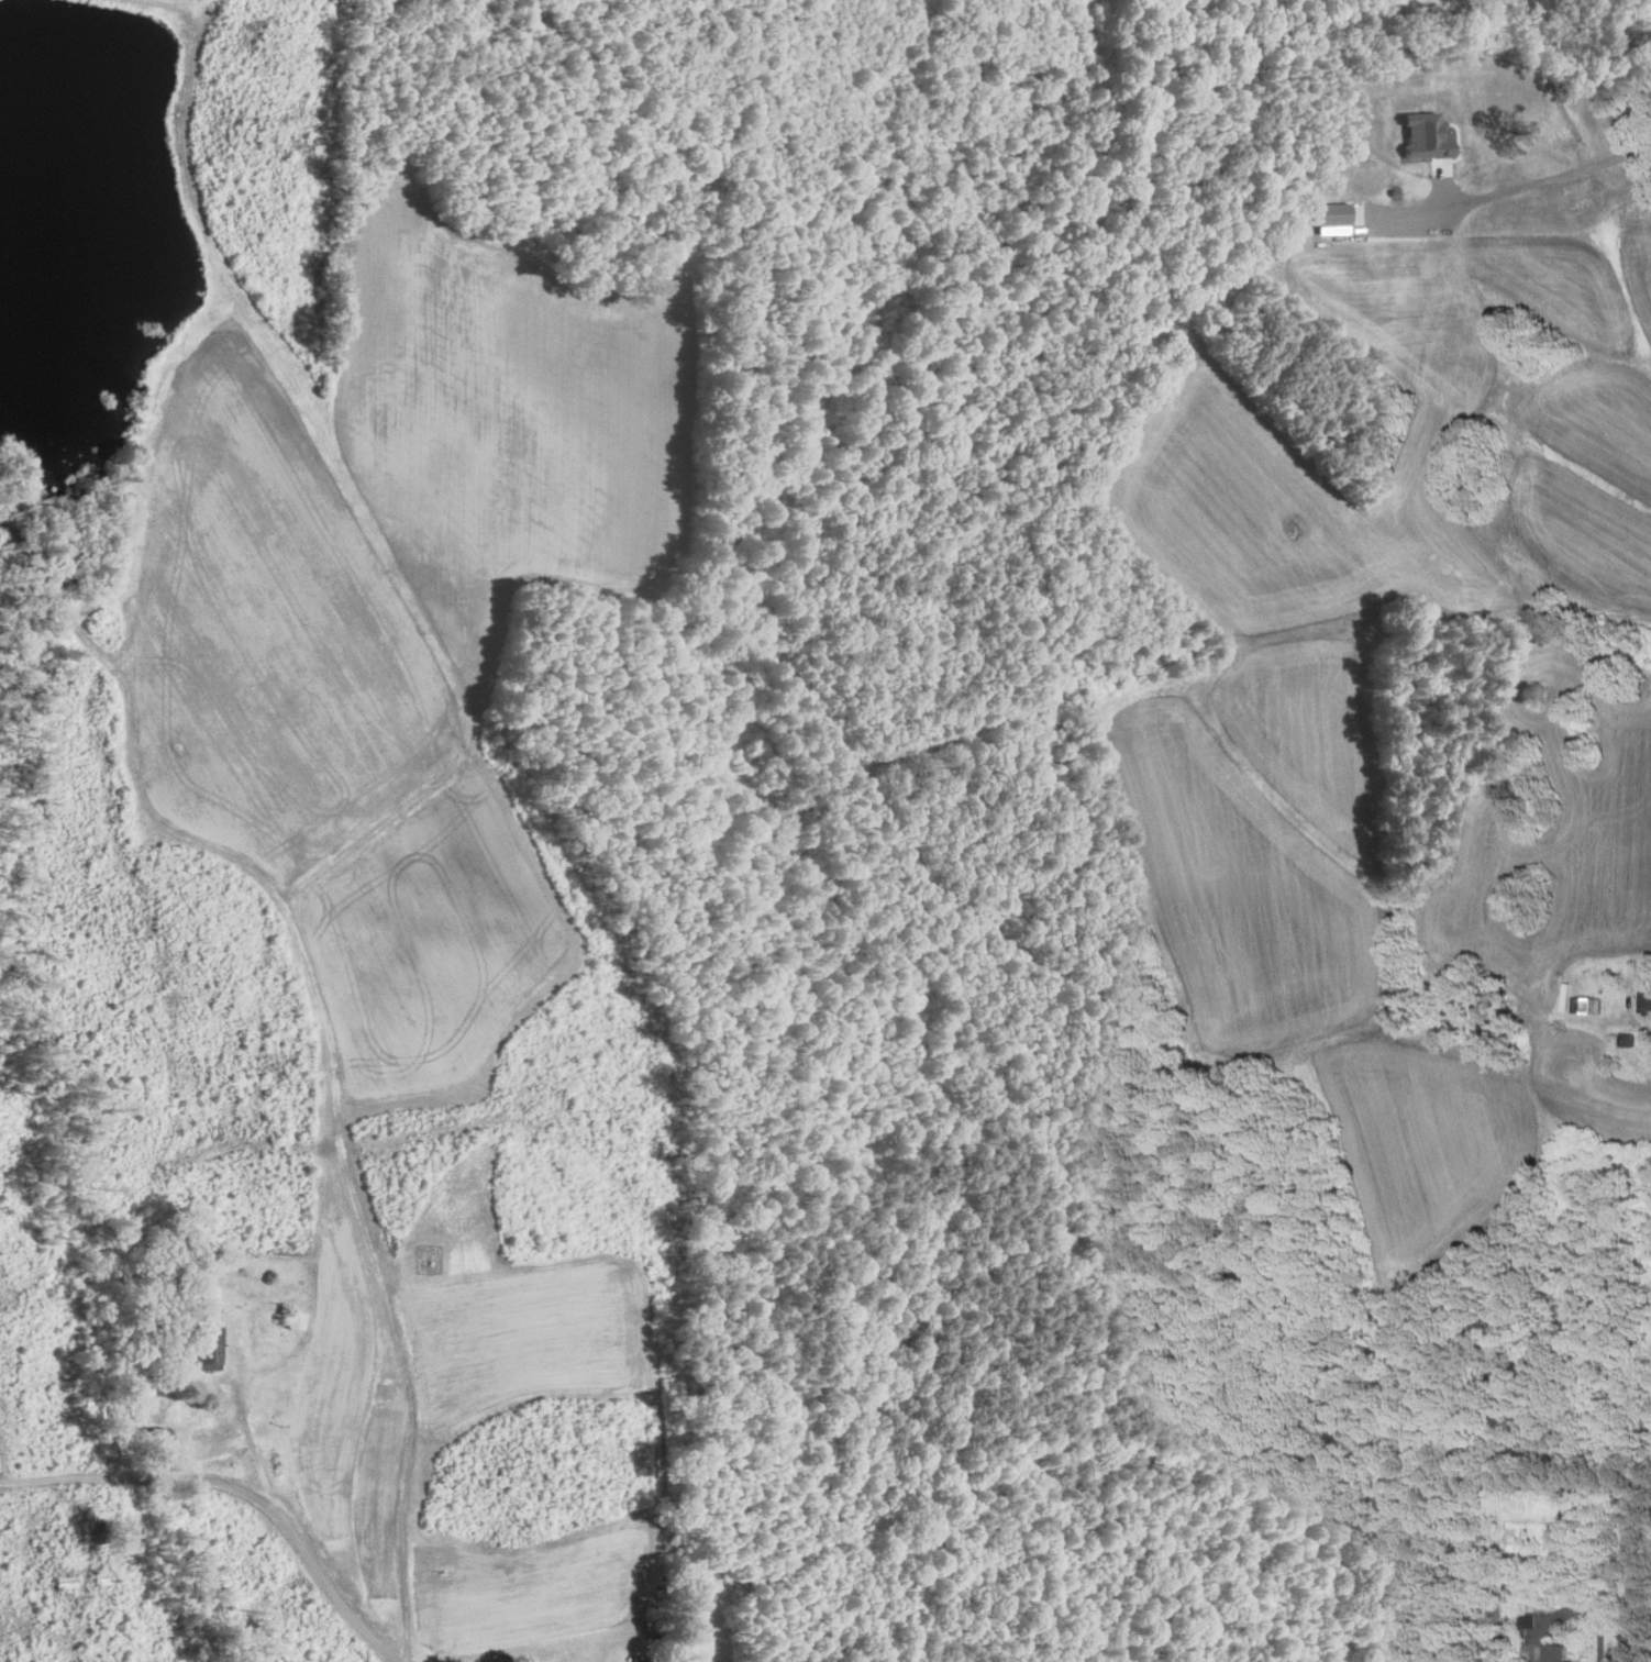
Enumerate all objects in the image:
road: (1554, 175)
building: (1644, 1000)
building: (1583, 1005)
building: (292, 1320)
building: (203, 1348)
road: (248, 1475)
building: (98, 1578)
building: (60, 1583)
road: (1580, 1610)
building: (1555, 1653)

